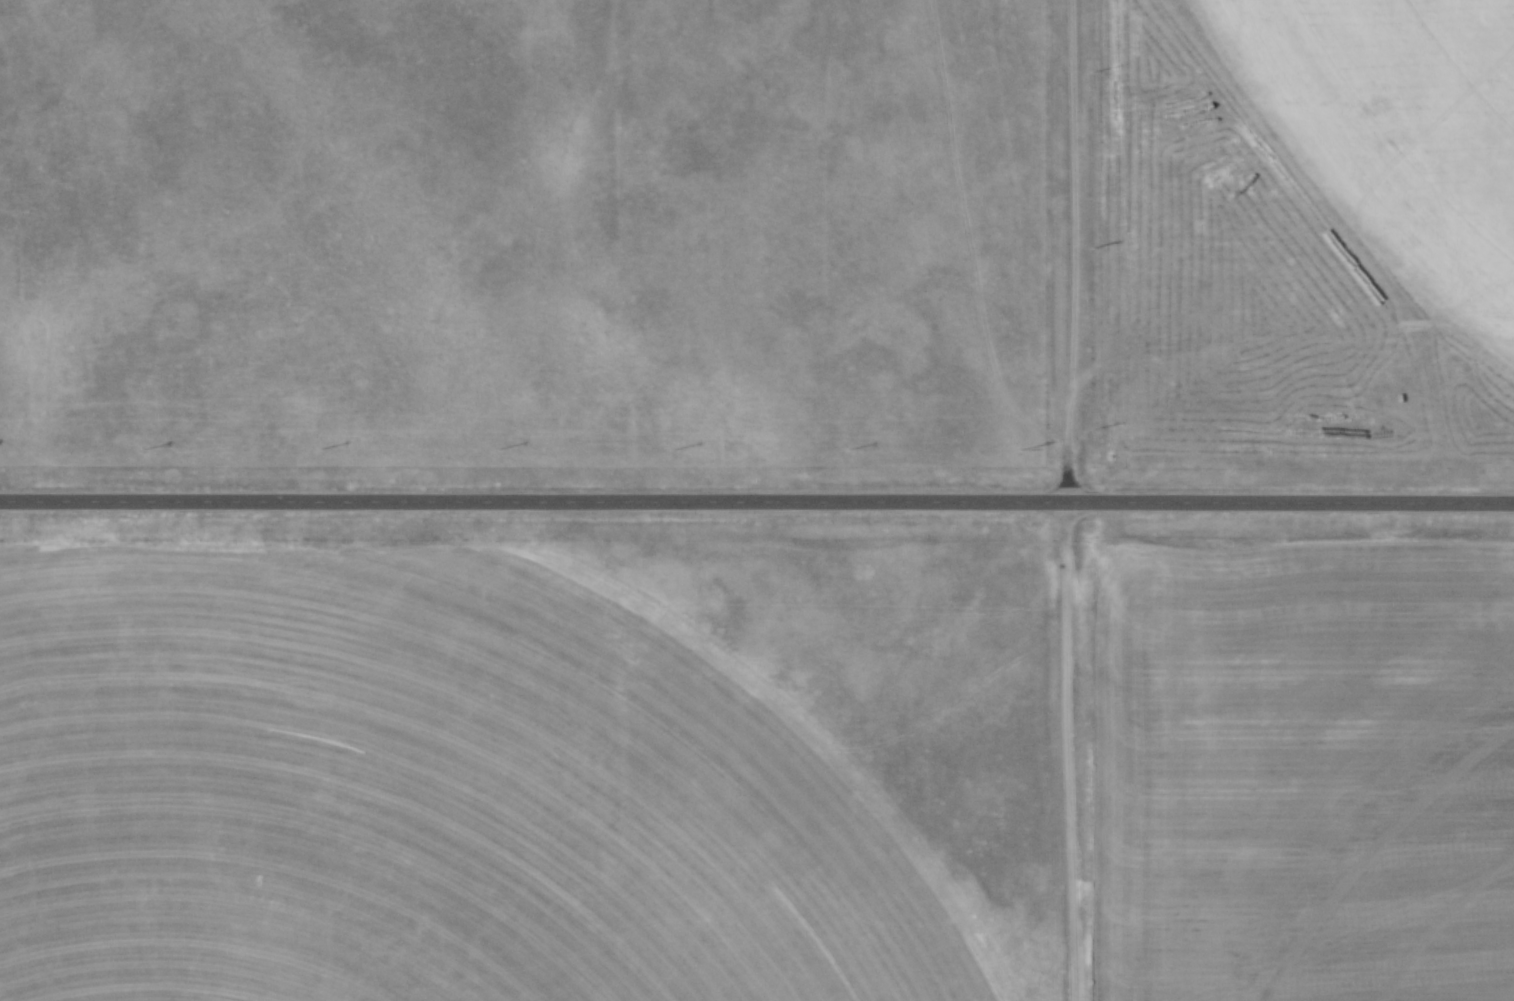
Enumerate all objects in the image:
road: (1067, 249)
road: (757, 497)

